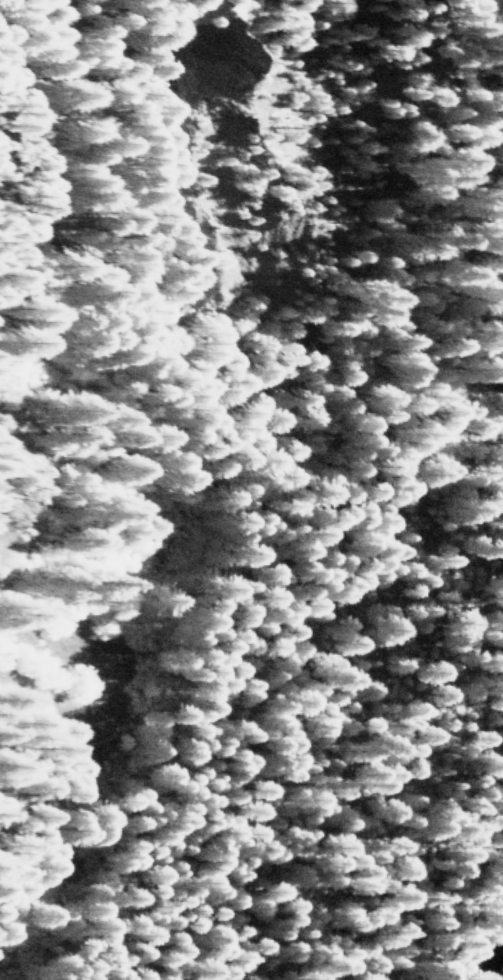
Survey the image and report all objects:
road: (472, 887)
river: (498, 966)

